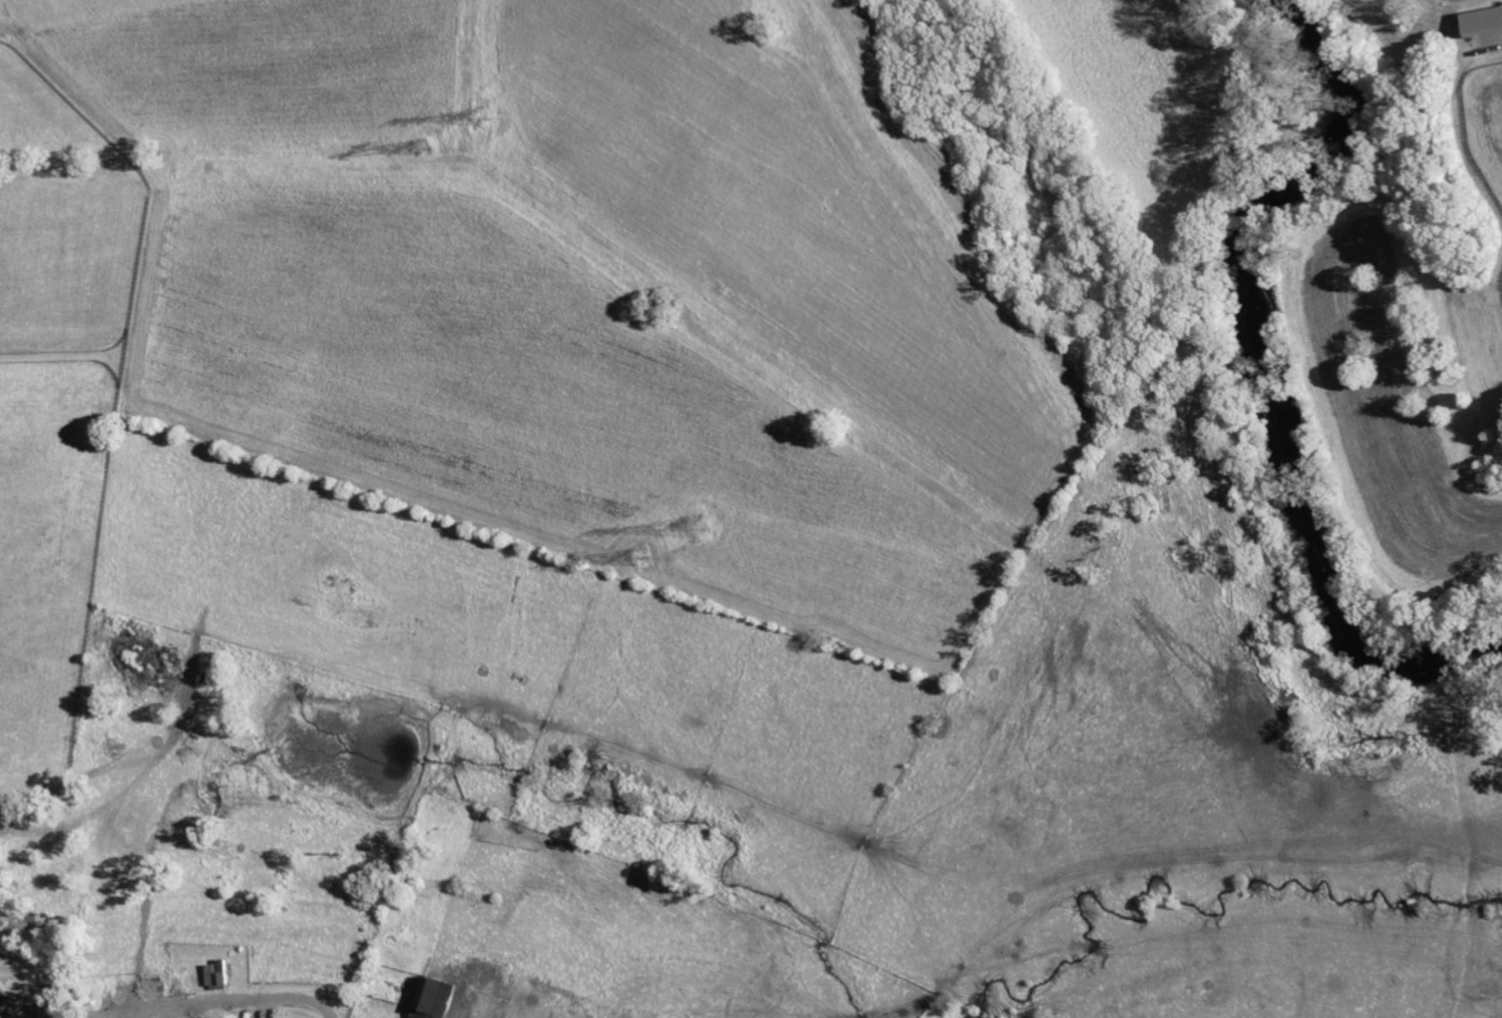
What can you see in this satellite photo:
building: (1479, 21)
power tower: (472, 113)
power tower: (423, 149)
power tower: (701, 525)
power tower: (645, 554)
building: (220, 976)
building: (157, 987)
building: (441, 997)
road: (188, 1009)

